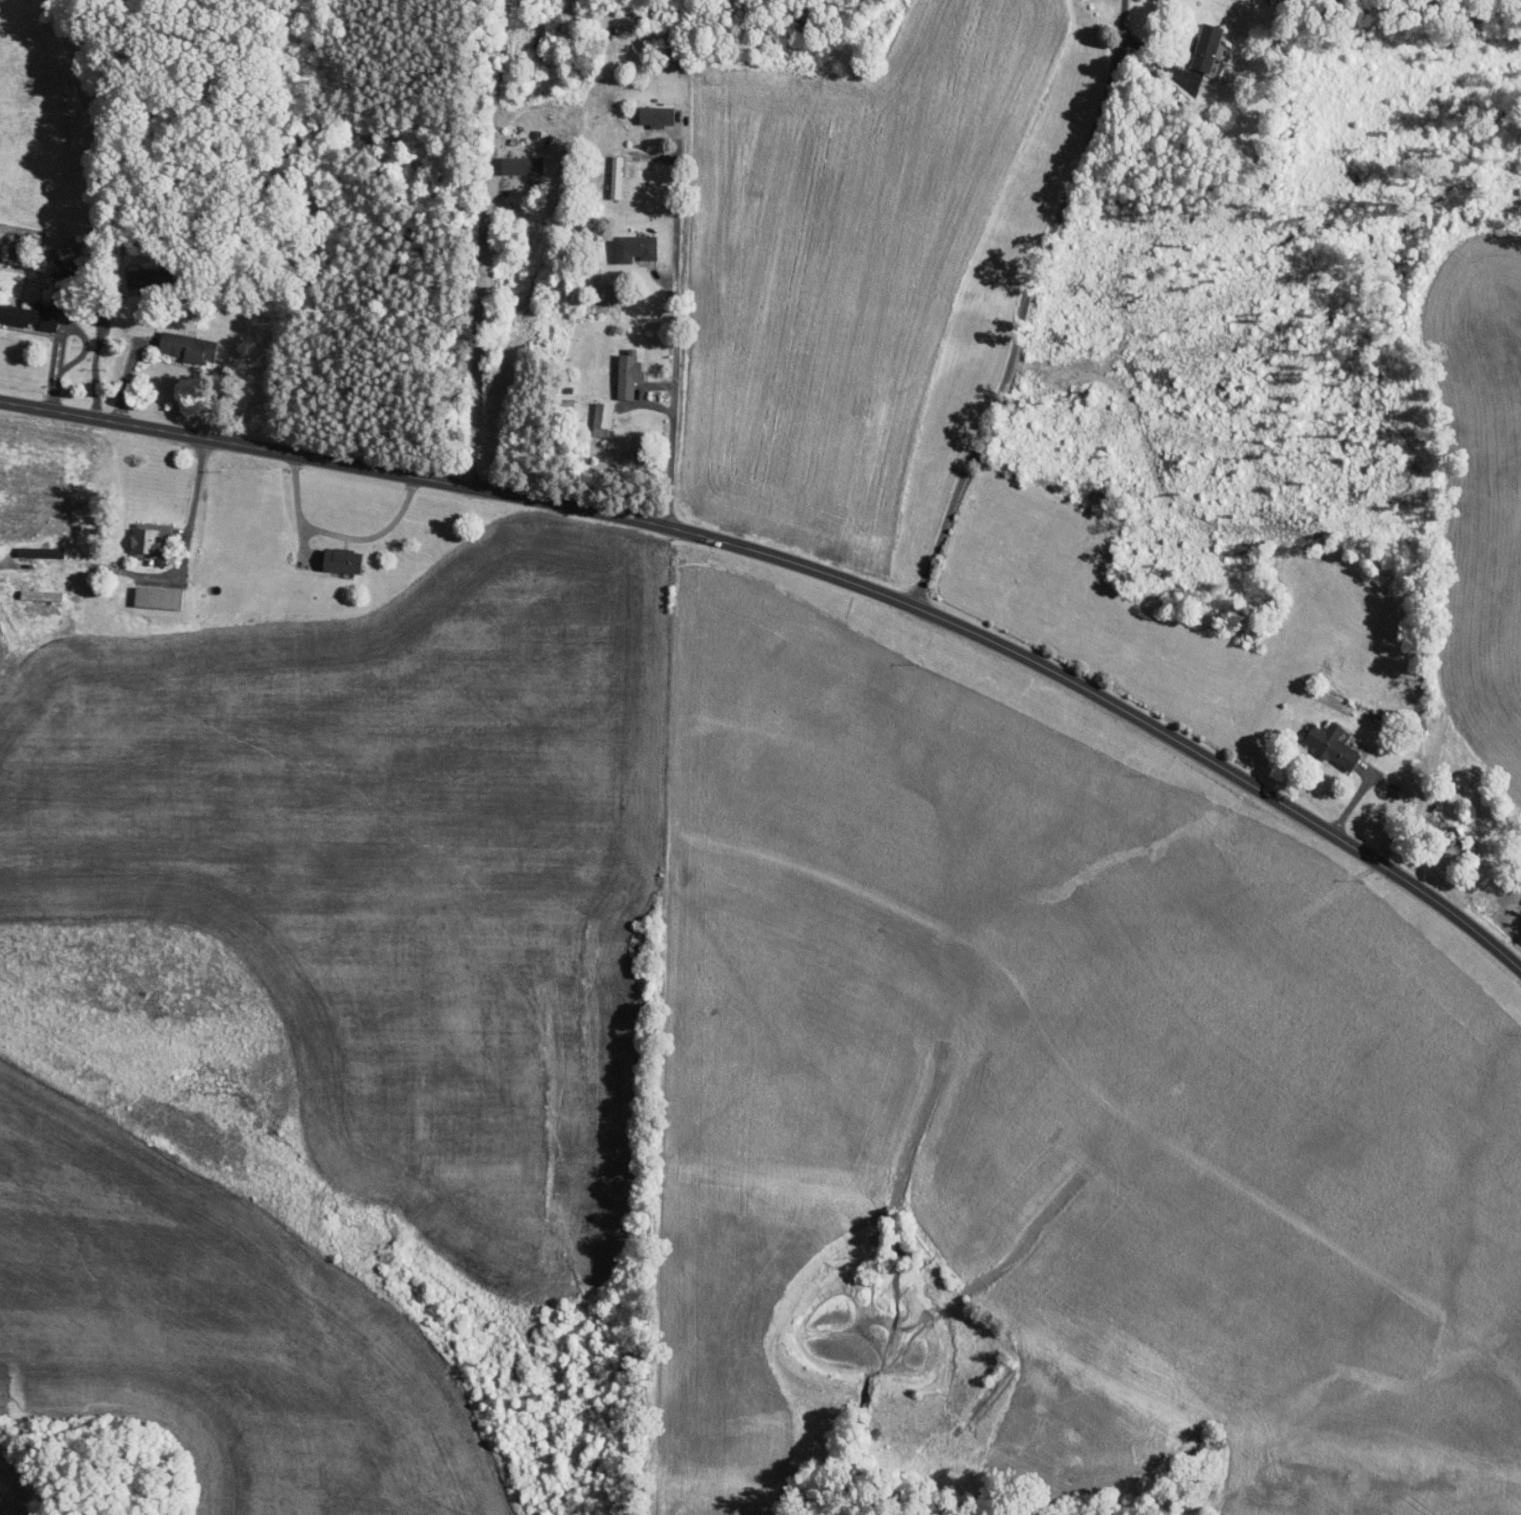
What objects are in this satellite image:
building: (1208, 49)
building: (659, 115)
building: (528, 164)
building: (615, 177)
road: (482, 242)
building: (637, 248)
building: (64, 268)
building: (145, 278)
road: (1024, 303)
building: (31, 316)
road: (670, 333)
building: (191, 347)
building: (629, 374)
building: (602, 415)
road: (191, 513)
road: (339, 535)
road: (704, 536)
building: (149, 542)
building: (0, 547)
building: (43, 552)
building: (345, 560)
road: (18, 565)
building: (42, 595)
building: (159, 598)
building: (1333, 743)
road: (1438, 902)

